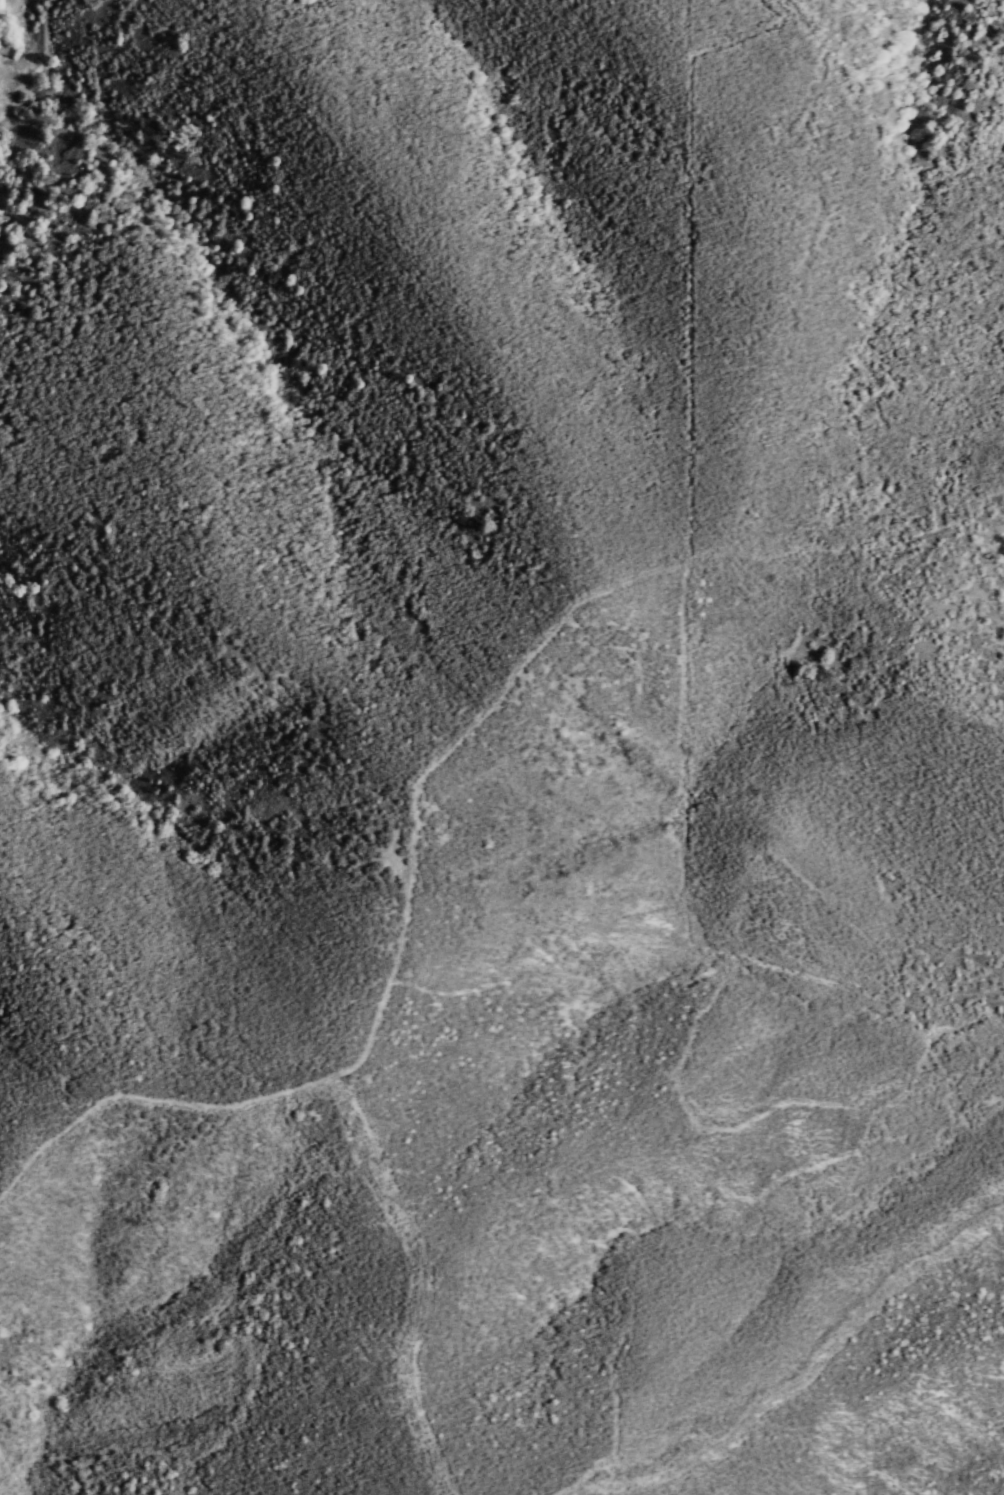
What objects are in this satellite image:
building: (9, 50)

